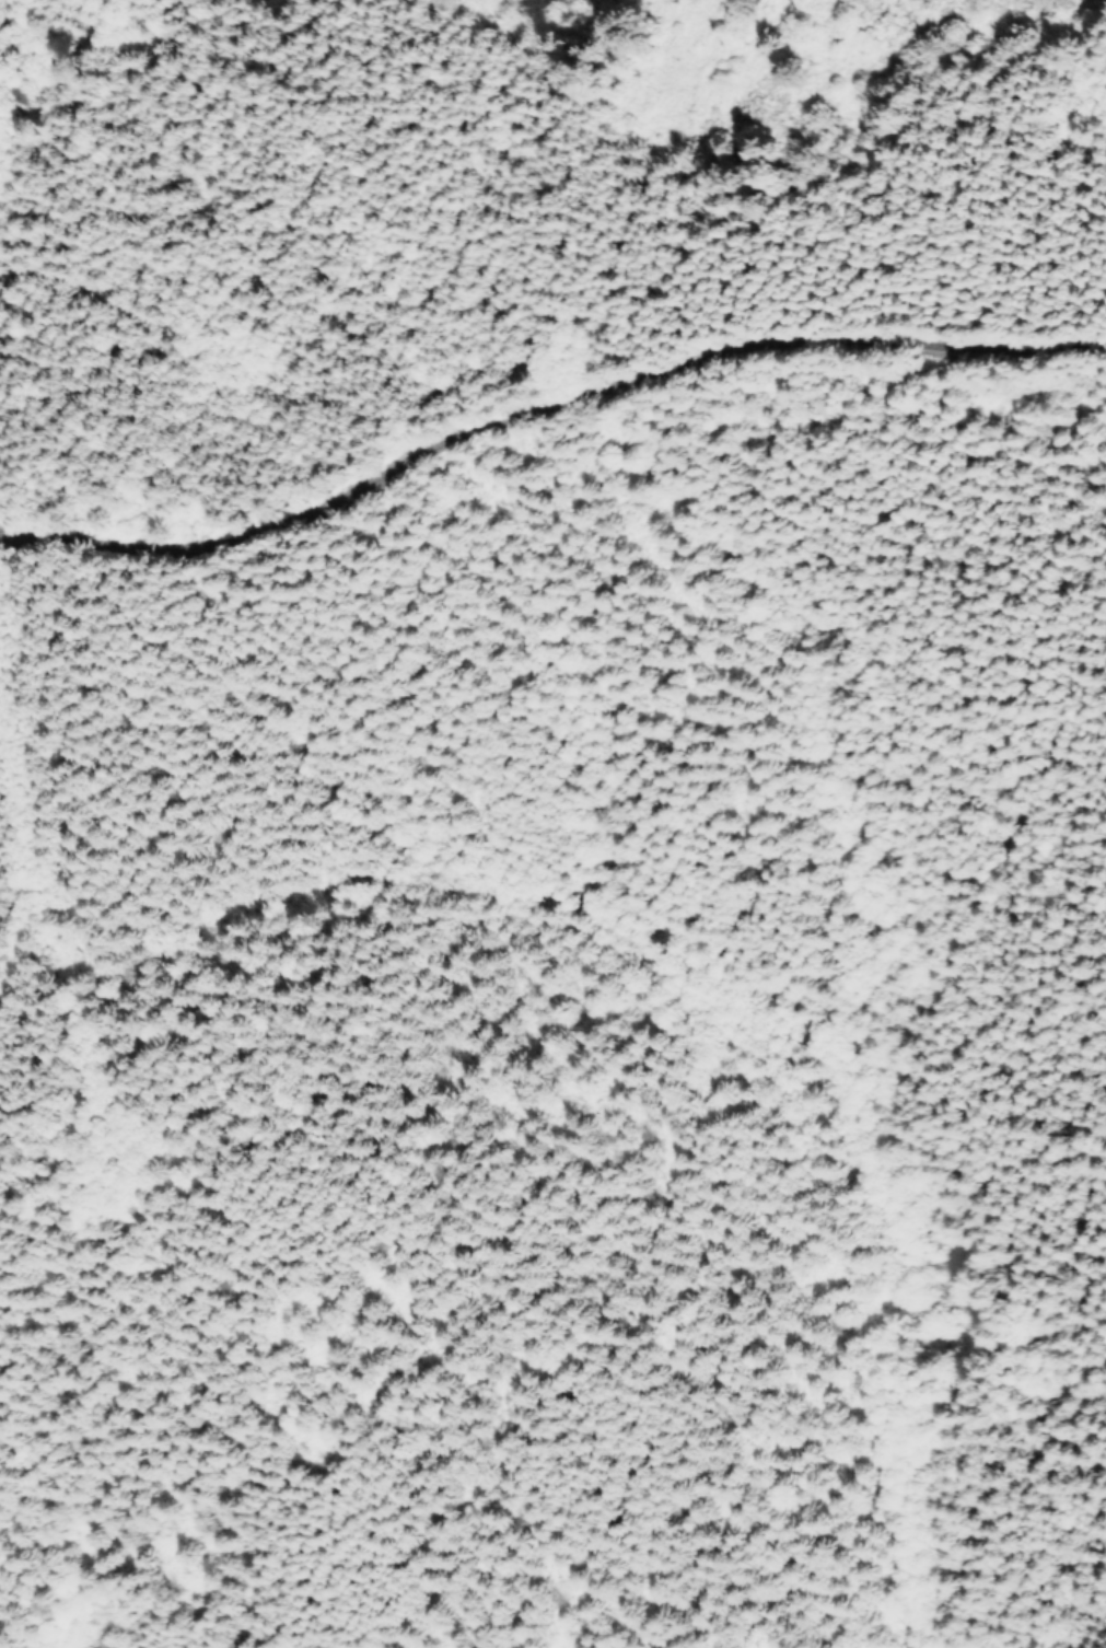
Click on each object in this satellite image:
road: (544, 406)
road: (22, 708)

